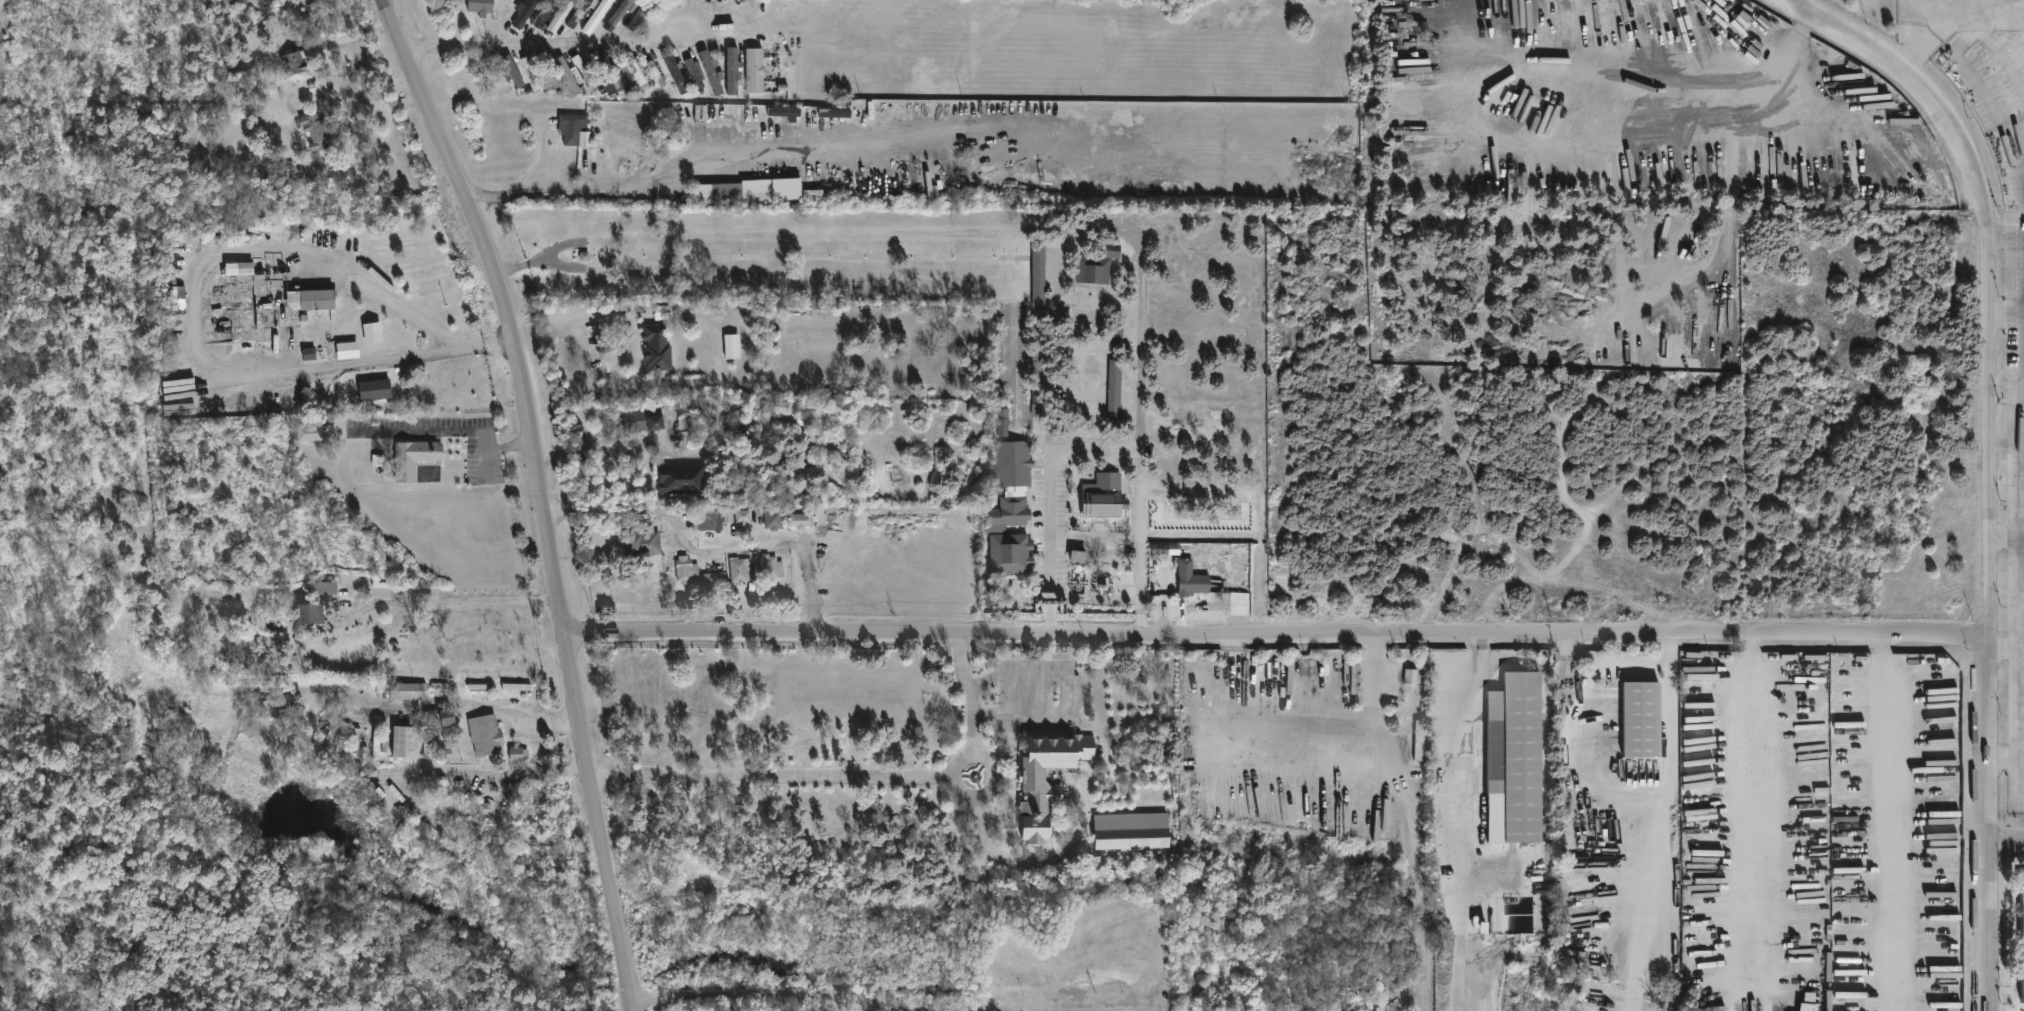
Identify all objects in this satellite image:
building: (482, 6)
building: (601, 10)
building: (623, 10)
building: (525, 13)
building: (578, 13)
building: (640, 14)
building: (560, 15)
road: (555, 42)
building: (296, 61)
building: (529, 66)
building: (754, 69)
building: (512, 70)
building: (732, 70)
building: (585, 72)
building: (656, 72)
building: (695, 72)
building: (711, 72)
building: (604, 73)
building: (639, 73)
building: (677, 73)
building: (568, 74)
road: (361, 106)
building: (784, 111)
building: (835, 112)
road: (1998, 121)
building: (573, 126)
building: (316, 129)
road: (684, 169)
building: (289, 171)
building: (748, 190)
building: (1097, 264)
road: (202, 267)
building: (244, 267)
road: (1008, 271)
building: (1038, 279)
building: (318, 298)
building: (175, 299)
road: (571, 312)
road: (1009, 326)
road: (1142, 331)
building: (373, 332)
building: (658, 346)
building: (732, 346)
building: (347, 349)
building: (309, 353)
building: (1038, 354)
road: (2007, 385)
building: (374, 389)
building: (1114, 390)
building: (643, 419)
building: (1003, 421)
building: (690, 427)
road: (2002, 430)
building: (311, 432)
road: (603, 443)
road: (1091, 447)
building: (413, 458)
road: (1991, 461)
building: (1015, 463)
building: (681, 478)
road: (542, 495)
building: (1105, 496)
building: (1015, 510)
building: (710, 517)
building: (743, 517)
building: (991, 517)
building: (773, 518)
building: (802, 520)
road: (2003, 535)
road: (2015, 537)
building: (643, 543)
road: (715, 546)
building: (1011, 552)
building: (1077, 556)
building: (772, 567)
building: (687, 569)
building: (742, 569)
building: (1192, 578)
building: (714, 579)
building: (324, 586)
road: (454, 600)
building: (311, 613)
road: (1279, 638)
building: (408, 689)
road: (1068, 689)
road: (968, 695)
road: (483, 704)
building: (441, 715)
building: (1645, 716)
building: (486, 734)
building: (1421, 738)
building: (356, 739)
building: (408, 740)
building: (379, 741)
building: (518, 753)
building: (1518, 757)
road: (1588, 759)
road: (1459, 764)
road: (490, 771)
road: (770, 774)
building: (1048, 778)
road: (990, 789)
road: (1668, 798)
road: (1754, 813)
road: (1888, 825)
building: (1131, 830)
road: (2009, 846)
road: (1008, 859)
building: (2019, 937)
road: (1460, 960)
road: (779, 990)

